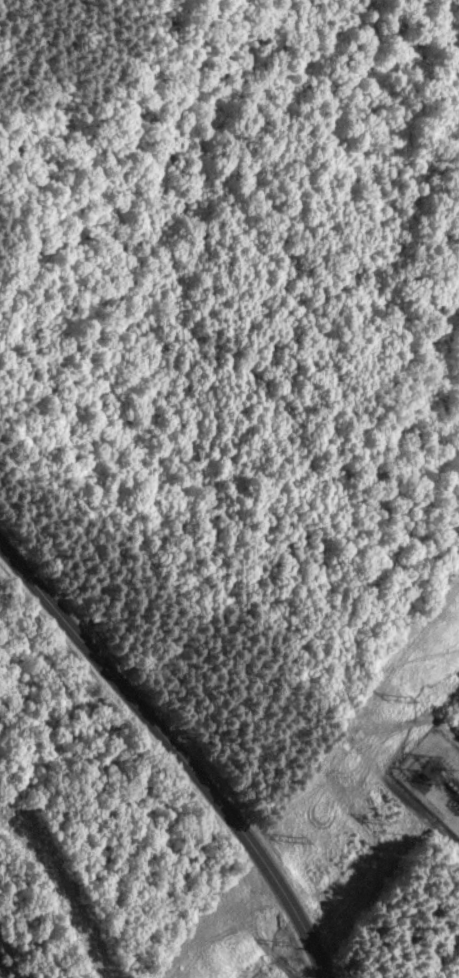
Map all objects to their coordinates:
road: (178, 750)
road: (443, 959)
railway: (7, 966)

